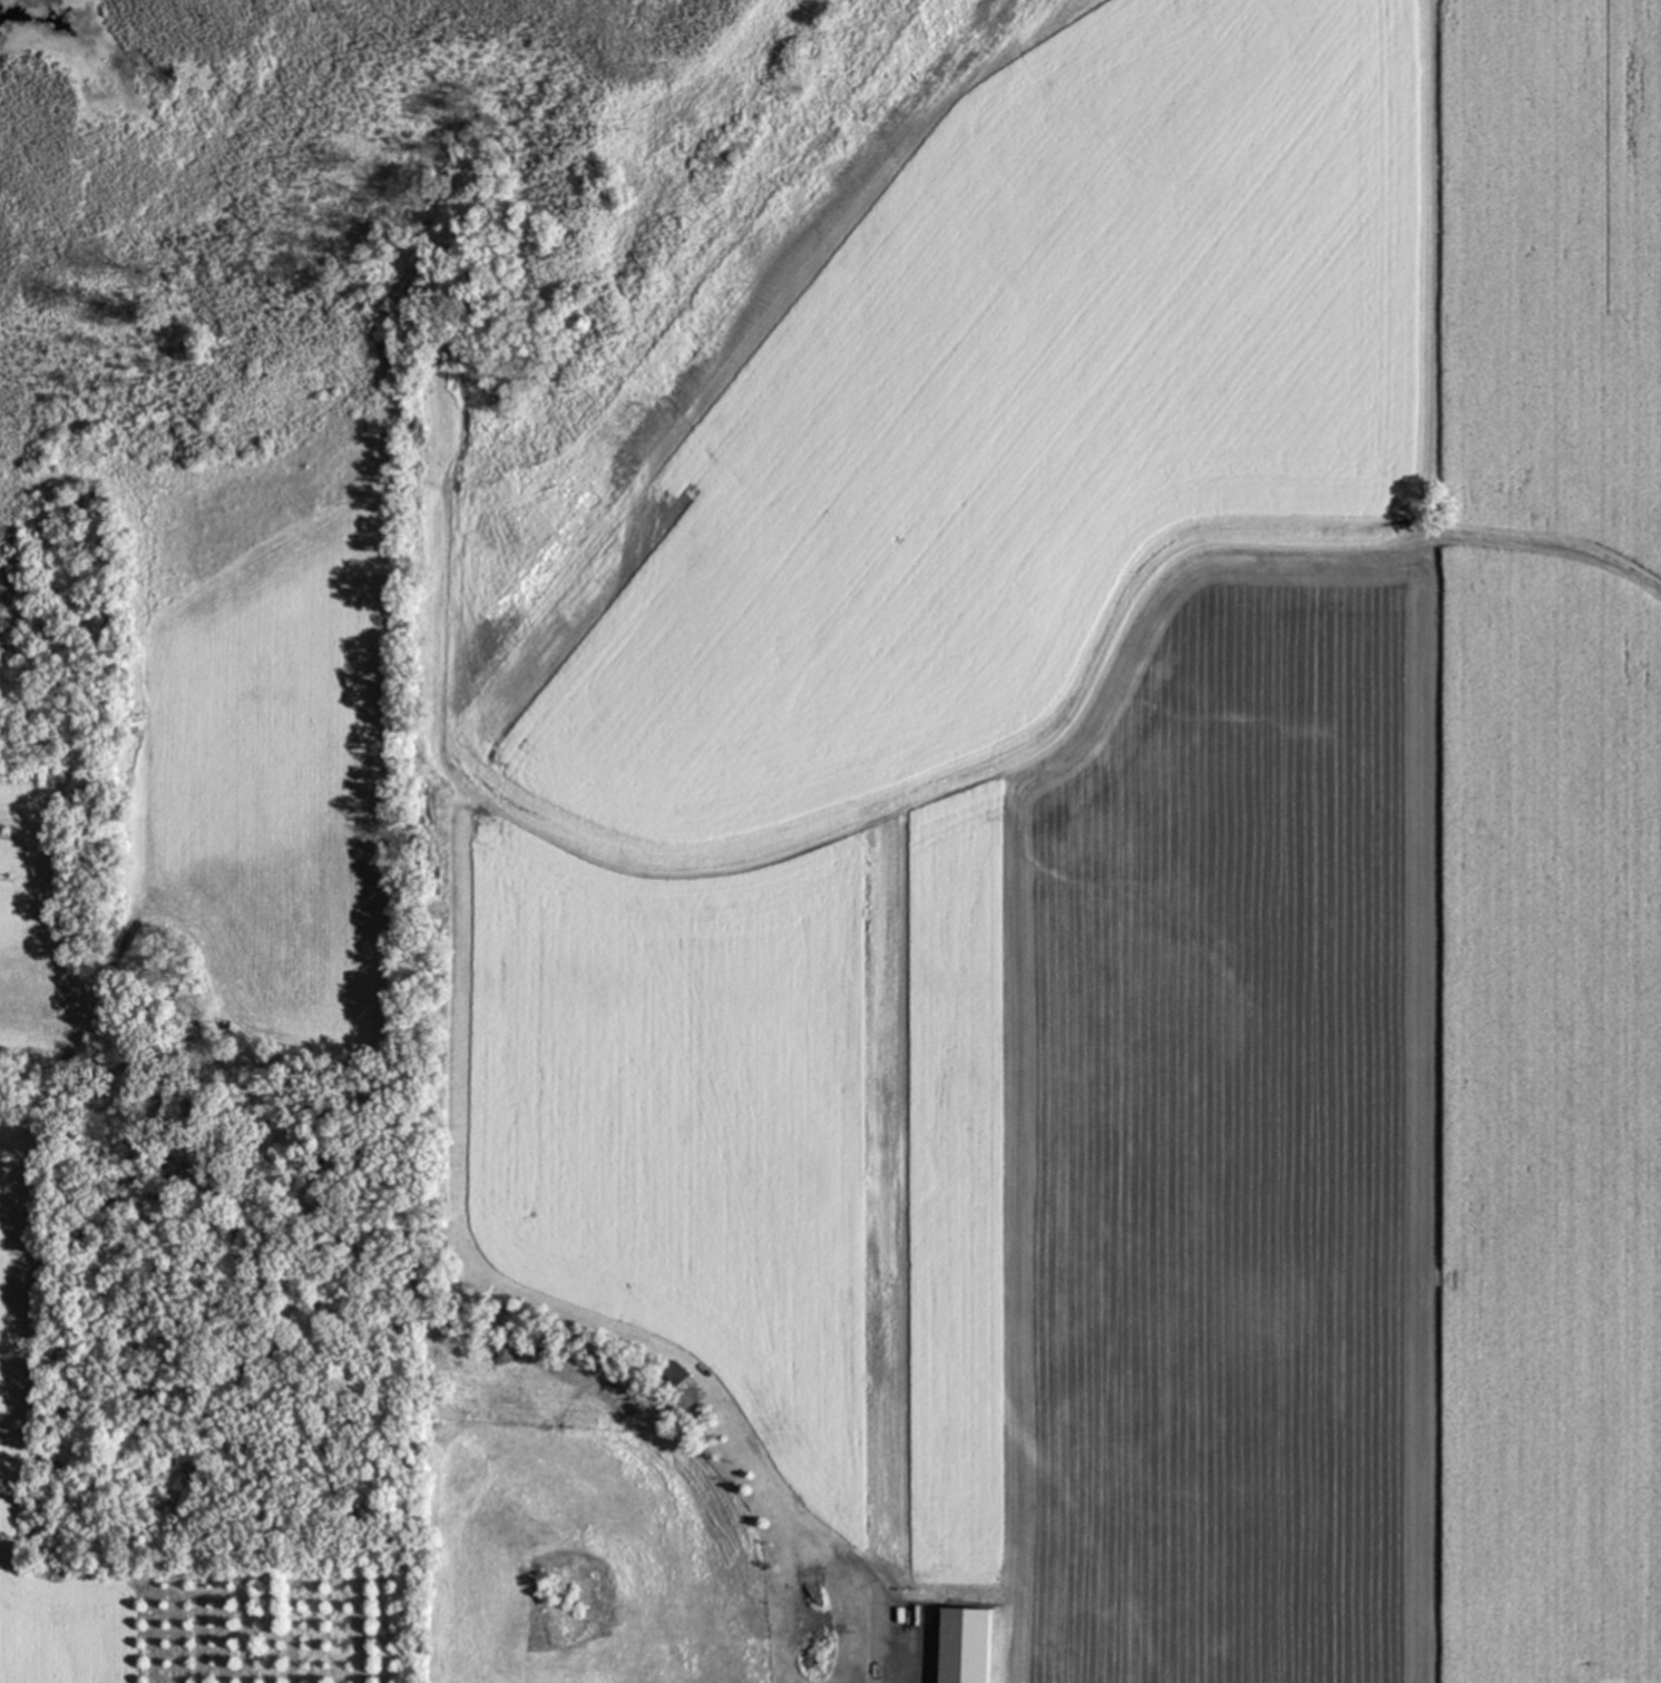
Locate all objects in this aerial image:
building: (861, 1616)

